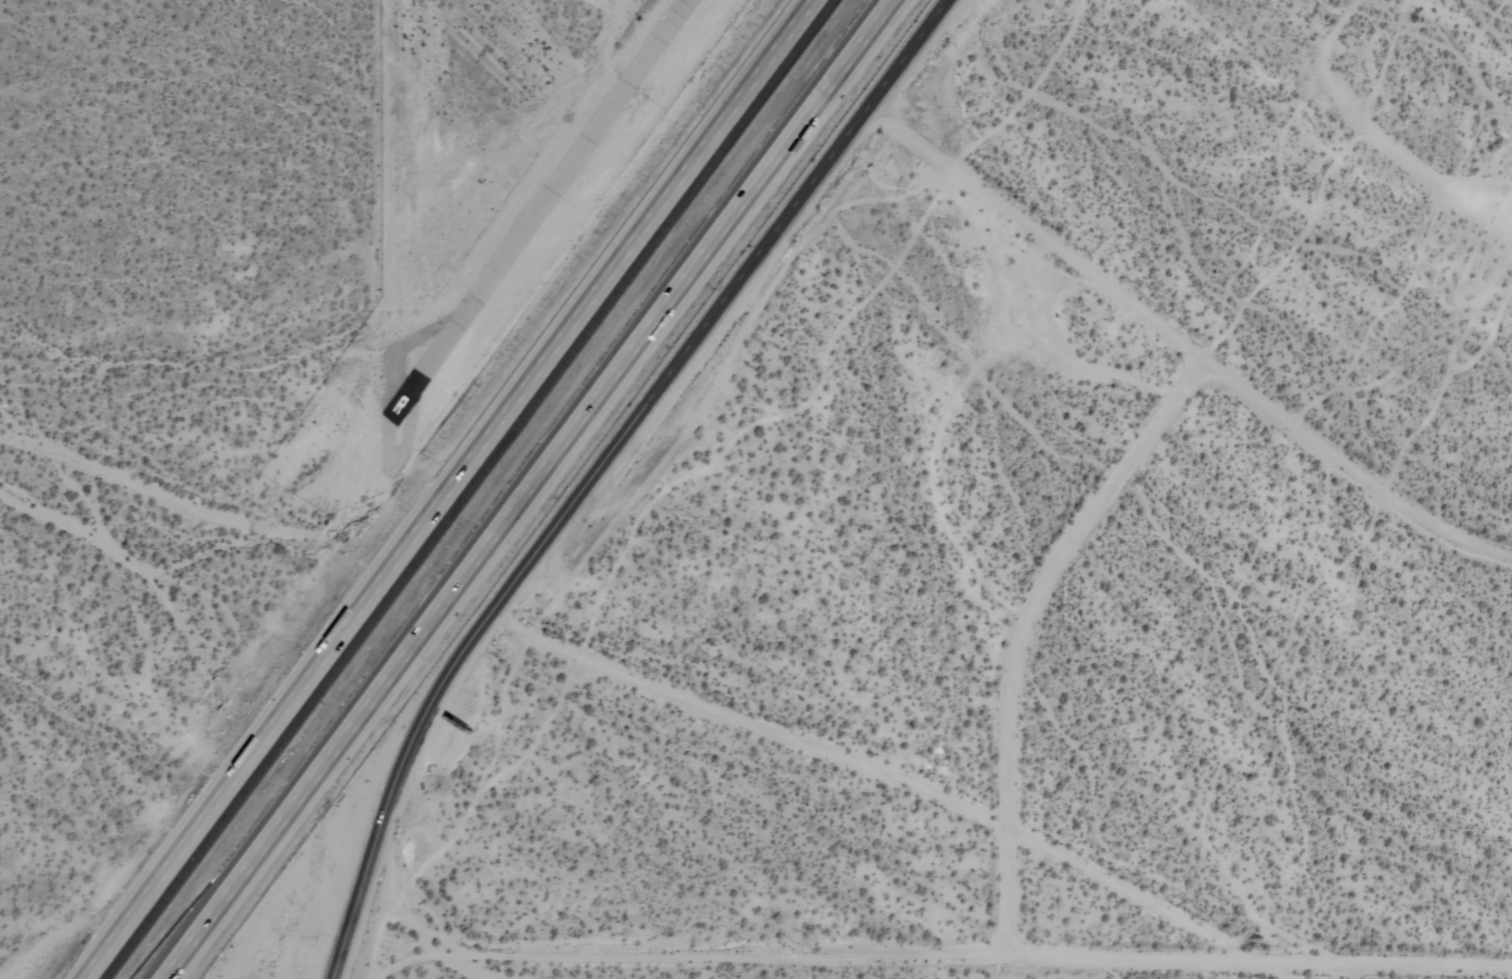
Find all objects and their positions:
airport: (470, 204)
airport runway: (532, 206)
road: (1033, 232)
airport taxiway: (385, 416)
road: (608, 455)
road: (1351, 469)
road: (448, 489)
railway: (492, 489)
road: (530, 489)
road: (1024, 629)
road: (891, 775)
road: (928, 952)
road: (340, 964)

